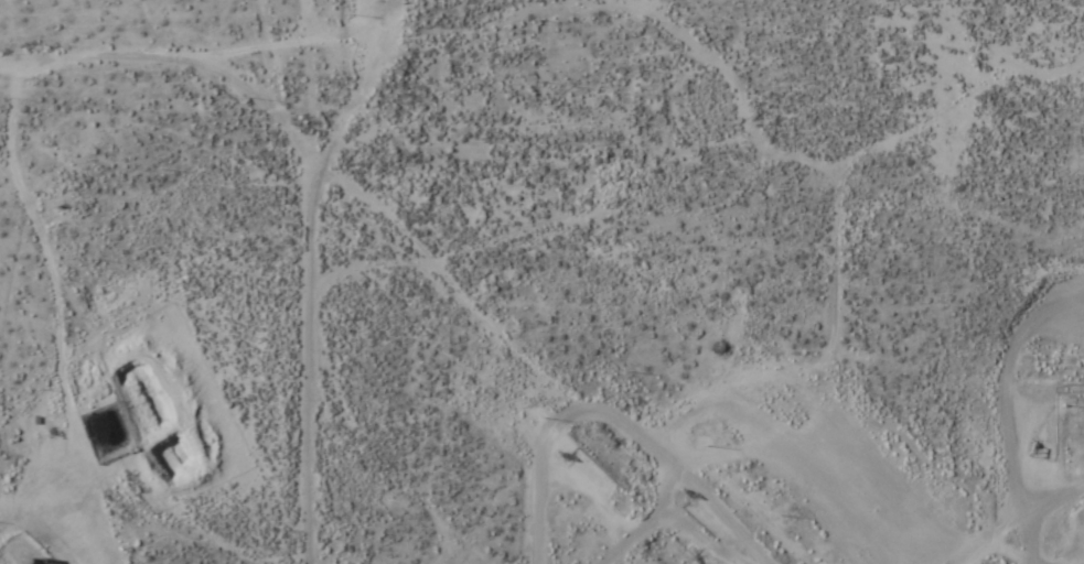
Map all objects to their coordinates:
road: (18, 544)

